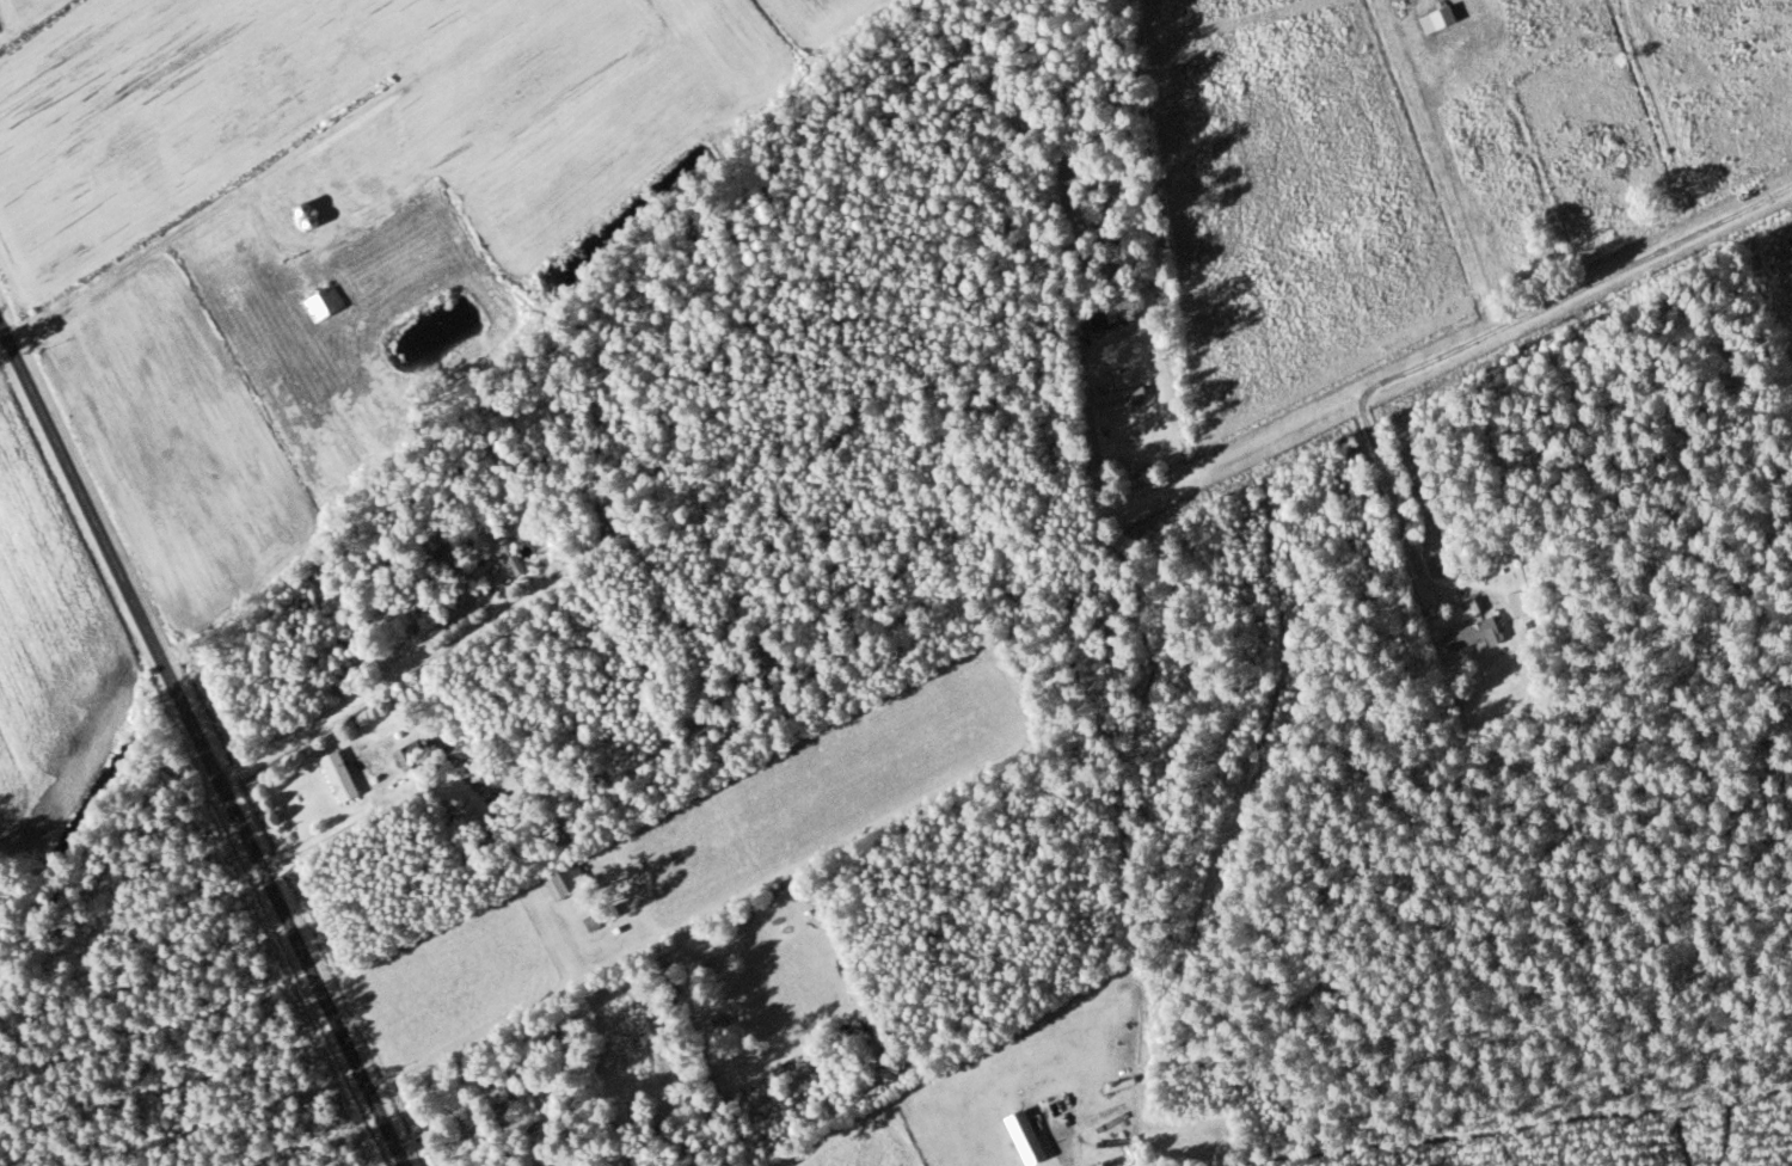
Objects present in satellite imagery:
building: (1150, 240)
building: (1790, 243)
building: (321, 302)
building: (1101, 319)
building: (1117, 397)
building: (507, 552)
building: (442, 556)
building: (1467, 636)
road: (201, 748)
building: (561, 879)
building: (1021, 1137)

